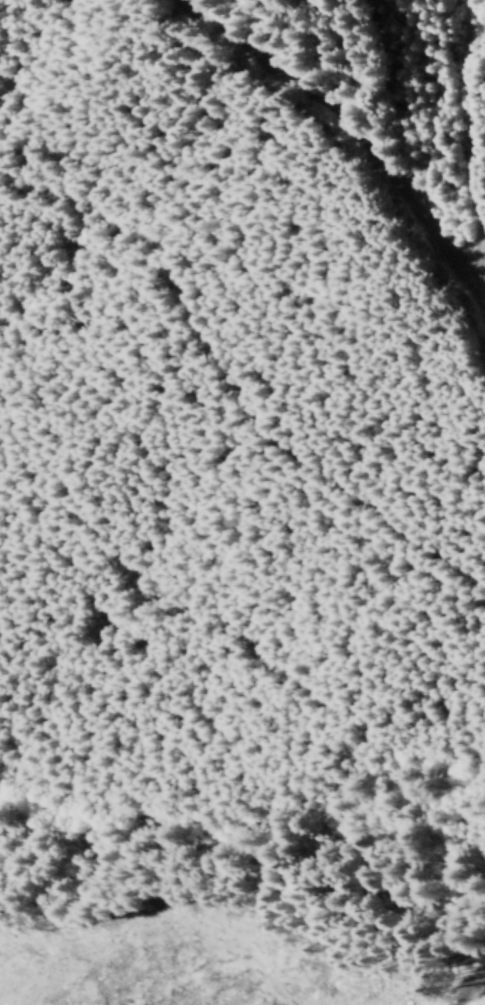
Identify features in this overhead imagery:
road: (322, 214)
road: (476, 996)

